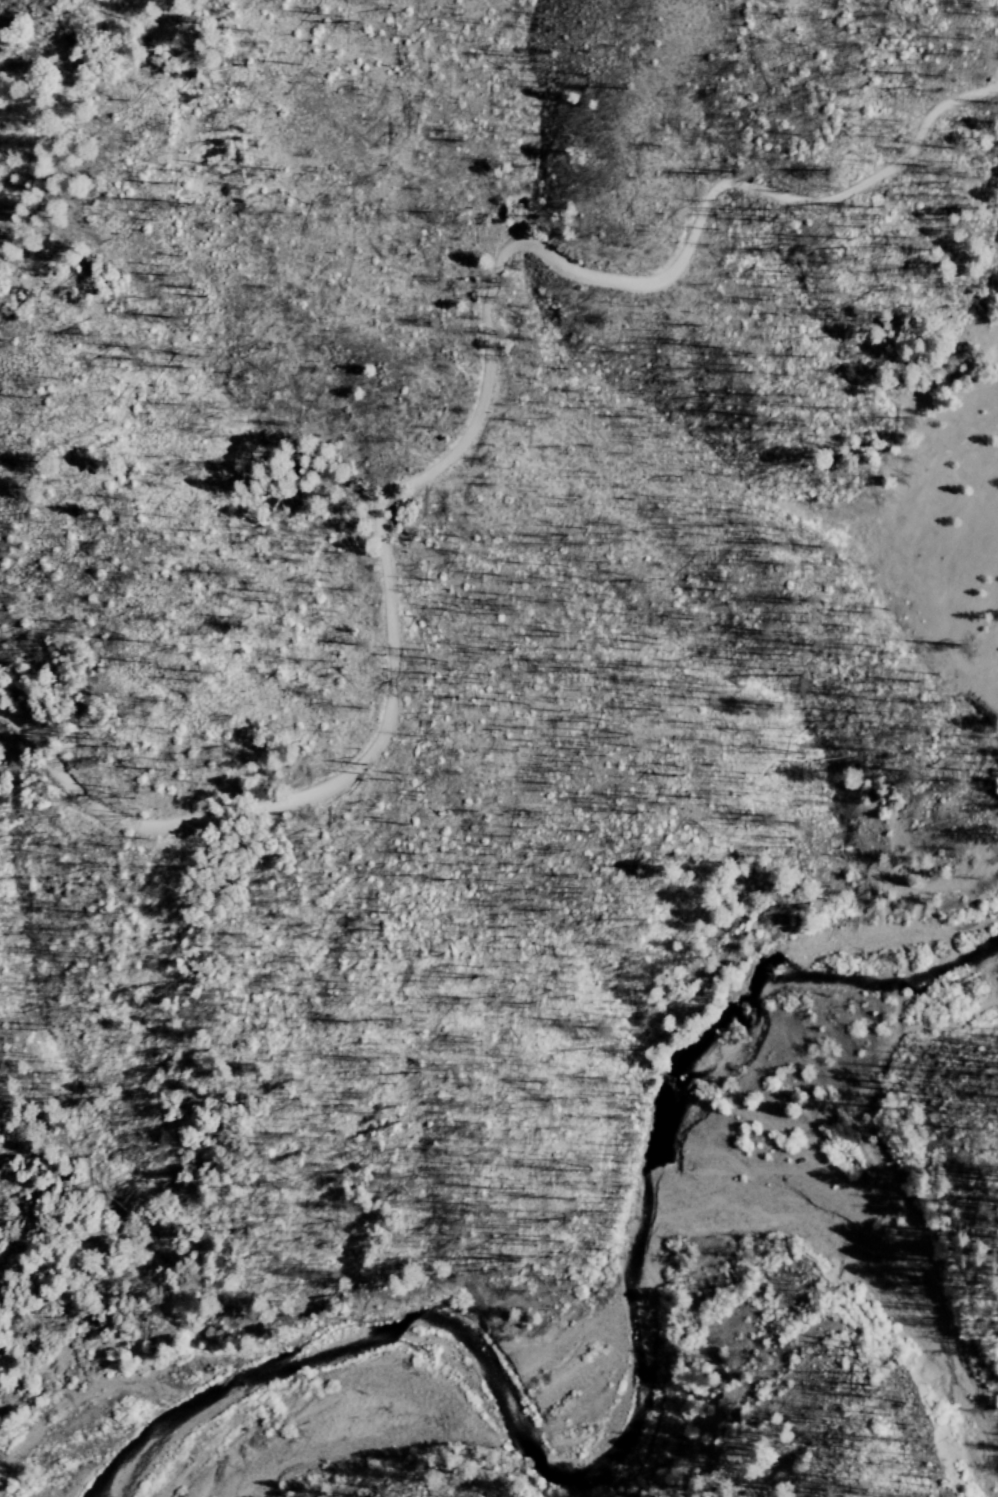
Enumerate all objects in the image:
road: (464, 437)

